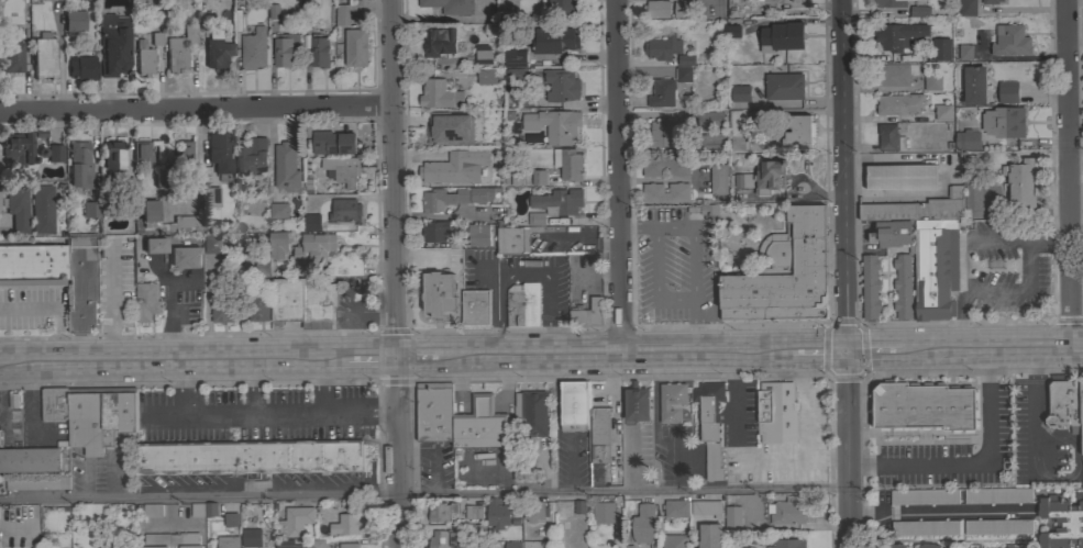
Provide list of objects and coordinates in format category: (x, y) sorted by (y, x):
building: (245, 0)
building: (908, 0)
building: (781, 1)
building: (991, 1)
building: (889, 3)
building: (449, 5)
building: (560, 5)
building: (966, 8)
building: (683, 9)
building: (307, 10)
building: (656, 10)
building: (917, 11)
building: (274, 12)
building: (342, 14)
building: (74, 21)
building: (732, 32)
building: (898, 35)
building: (782, 37)
building: (554, 40)
building: (1010, 41)
building: (439, 42)
building: (113, 44)
building: (355, 47)
building: (663, 47)
building: (179, 48)
building: (253, 49)
building: (284, 49)
building: (940, 49)
building: (217, 51)
building: (319, 51)
building: (964, 52)
building: (482, 54)
building: (12, 55)
building: (44, 56)
road: (60, 56)
building: (515, 57)
building: (143, 58)
building: (685, 60)
building: (81, 67)
building: (683, 75)
building: (896, 75)
building: (486, 77)
building: (511, 77)
building: (931, 82)
building: (561, 85)
building: (974, 85)
building: (784, 87)
building: (1007, 92)
building: (662, 93)
building: (740, 93)
building: (439, 96)
building: (899, 104)
road: (198, 107)
building: (943, 112)
building: (709, 119)
building: (1006, 123)
building: (554, 125)
building: (453, 127)
building: (736, 131)
building: (797, 131)
building: (662, 134)
building: (889, 137)
building: (966, 139)
building: (708, 142)
building: (332, 143)
building: (18, 148)
building: (219, 149)
building: (183, 152)
building: (55, 153)
building: (142, 153)
building: (113, 156)
building: (477, 156)
building: (251, 158)
road: (1076, 163)
building: (567, 164)
building: (79, 165)
building: (286, 167)
building: (665, 167)
building: (342, 170)
building: (434, 171)
road: (1071, 174)
road: (844, 176)
road: (625, 177)
building: (902, 177)
building: (164, 178)
road: (397, 178)
building: (538, 178)
building: (761, 178)
building: (718, 179)
building: (1020, 182)
building: (129, 184)
building: (665, 192)
building: (209, 194)
building: (455, 198)
building: (972, 200)
building: (557, 202)
building: (91, 204)
building: (18, 209)
building: (42, 209)
building: (343, 210)
building: (278, 211)
building: (150, 212)
building: (709, 212)
building: (537, 219)
building: (311, 222)
building: (180, 224)
building: (802, 225)
road: (640, 226)
building: (434, 231)
building: (891, 233)
building: (478, 234)
building: (512, 239)
road: (587, 242)
road: (1020, 242)
building: (210, 244)
building: (278, 244)
building: (155, 245)
road: (694, 245)
building: (927, 247)
building: (312, 249)
building: (185, 257)
building: (32, 265)
building: (262, 269)
road: (654, 281)
building: (81, 283)
building: (778, 284)
building: (869, 287)
building: (902, 287)
road: (1024, 291)
building: (439, 293)
building: (146, 301)
building: (303, 302)
road: (109, 305)
building: (256, 305)
building: (522, 305)
road: (57, 306)
building: (222, 307)
building: (475, 310)
building: (587, 313)
road: (960, 318)
road: (697, 326)
road: (994, 348)
road: (877, 350)
road: (795, 351)
road: (825, 351)
traffic signals: (848, 351)
road: (619, 355)
road: (423, 357)
road: (371, 358)
road: (183, 361)
road: (10, 364)
road: (325, 388)
road: (253, 390)
building: (11, 402)
building: (672, 402)
building: (637, 403)
building: (54, 404)
building: (573, 405)
road: (803, 405)
building: (1064, 405)
building: (922, 406)
building: (433, 411)
building: (531, 412)
building: (1081, 412)
building: (775, 413)
building: (118, 415)
road: (261, 418)
building: (86, 422)
road: (619, 423)
building: (709, 424)
building: (480, 425)
road: (1031, 429)
building: (599, 436)
building: (0, 438)
road: (848, 449)
road: (398, 452)
building: (251, 457)
road: (742, 458)
building: (30, 459)
road: (973, 462)
building: (37, 483)
road: (424, 493)
building: (997, 495)
building: (924, 496)
building: (579, 507)
building: (676, 508)
building: (706, 508)
building: (197, 510)
building: (211, 510)
building: (152, 511)
building: (534, 511)
building: (601, 511)
building: (440, 512)
building: (473, 512)
building: (787, 512)
building: (496, 513)
building: (732, 518)
building: (230, 519)
building: (295, 521)
building: (579, 524)
building: (643, 524)
building: (1060, 524)
building: (346, 525)
building: (997, 527)
building: (925, 528)
building: (709, 536)
building: (251, 537)
building: (447, 539)
building: (172, 540)
building: (673, 540)
building: (228, 541)
building: (316, 543)
building: (788, 544)
building: (511, 545)
building: (349, 546)
building: (895, 546)
building: (928, 546)
building: (289, 547)

